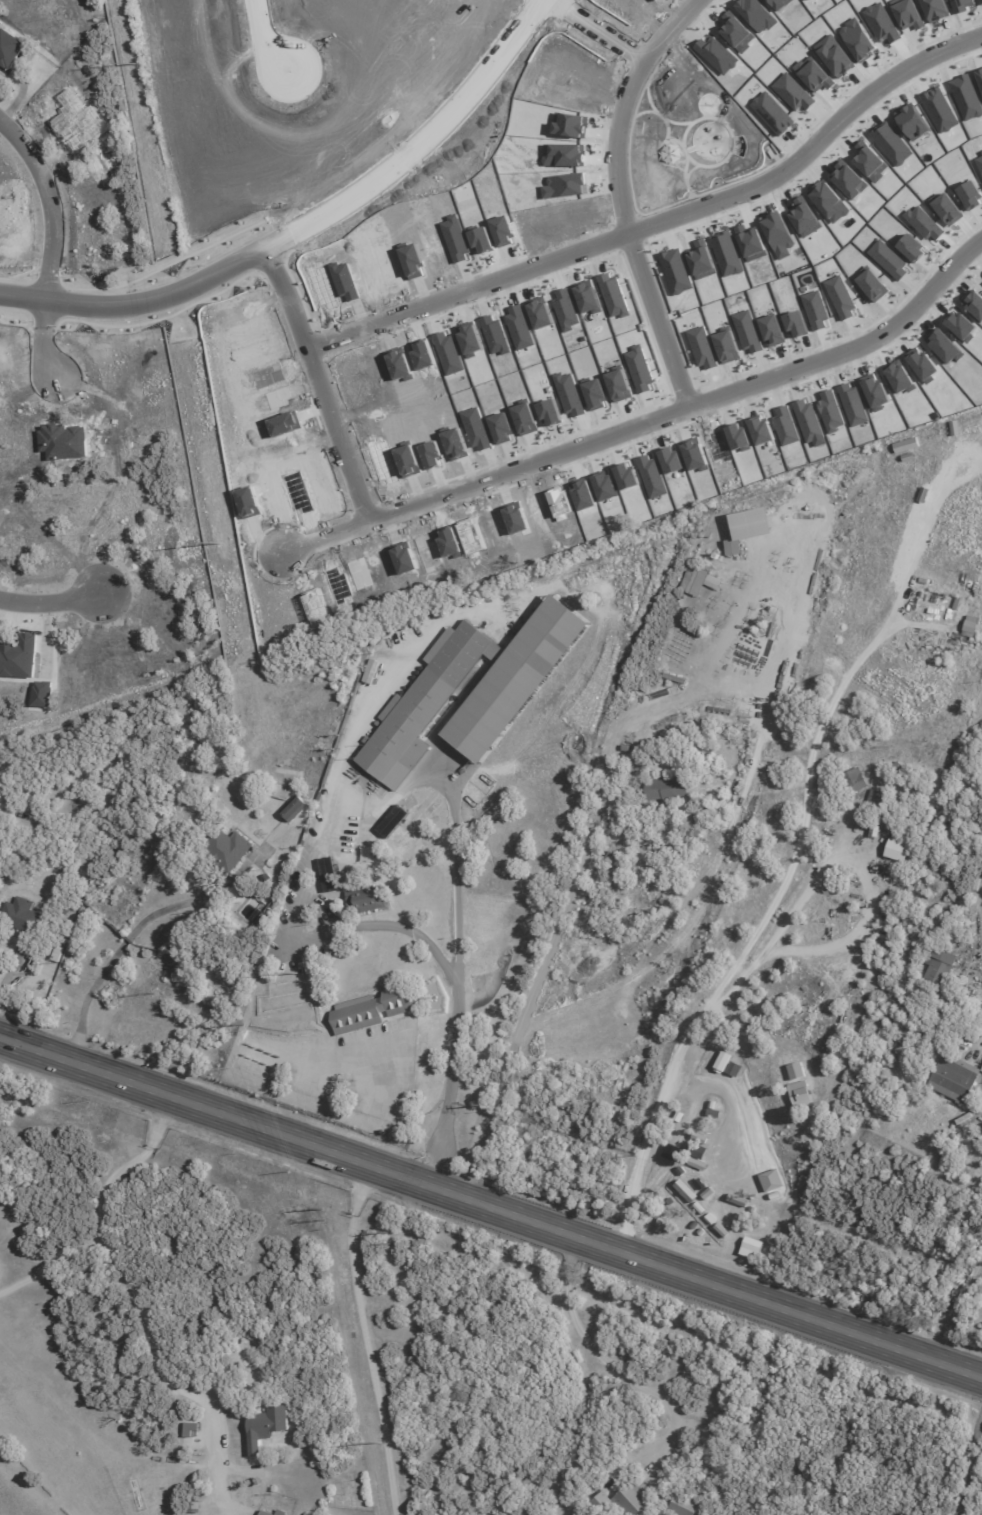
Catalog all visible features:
road: (603, 28)
road: (269, 30)
power tower: (136, 62)
road: (620, 192)
road: (44, 196)
road: (305, 220)
road: (664, 221)
road: (37, 341)
road: (324, 376)
road: (644, 418)
building: (748, 528)
power tower: (220, 543)
building: (698, 581)
road: (45, 604)
building: (970, 626)
building: (516, 678)
building: (854, 780)
building: (666, 788)
building: (875, 799)
building: (295, 809)
building: (392, 821)
road: (456, 834)
building: (227, 848)
building: (896, 850)
building: (328, 874)
building: (365, 900)
building: (19, 915)
road: (563, 920)
road: (418, 936)
road: (752, 937)
road: (113, 957)
building: (937, 968)
power tower: (297, 973)
building: (374, 1009)
road: (334, 1058)
building: (981, 1070)
building: (953, 1077)
road: (491, 1207)
road: (53, 1265)
road: (127, 1284)
road: (952, 1311)
road: (365, 1338)
road: (608, 1365)
building: (264, 1428)
building: (191, 1429)
power tower: (379, 1442)
road: (969, 1471)
building: (630, 1499)
building: (600, 1502)
building: (684, 1506)
building: (280, 1512)
building: (265, 1513)

